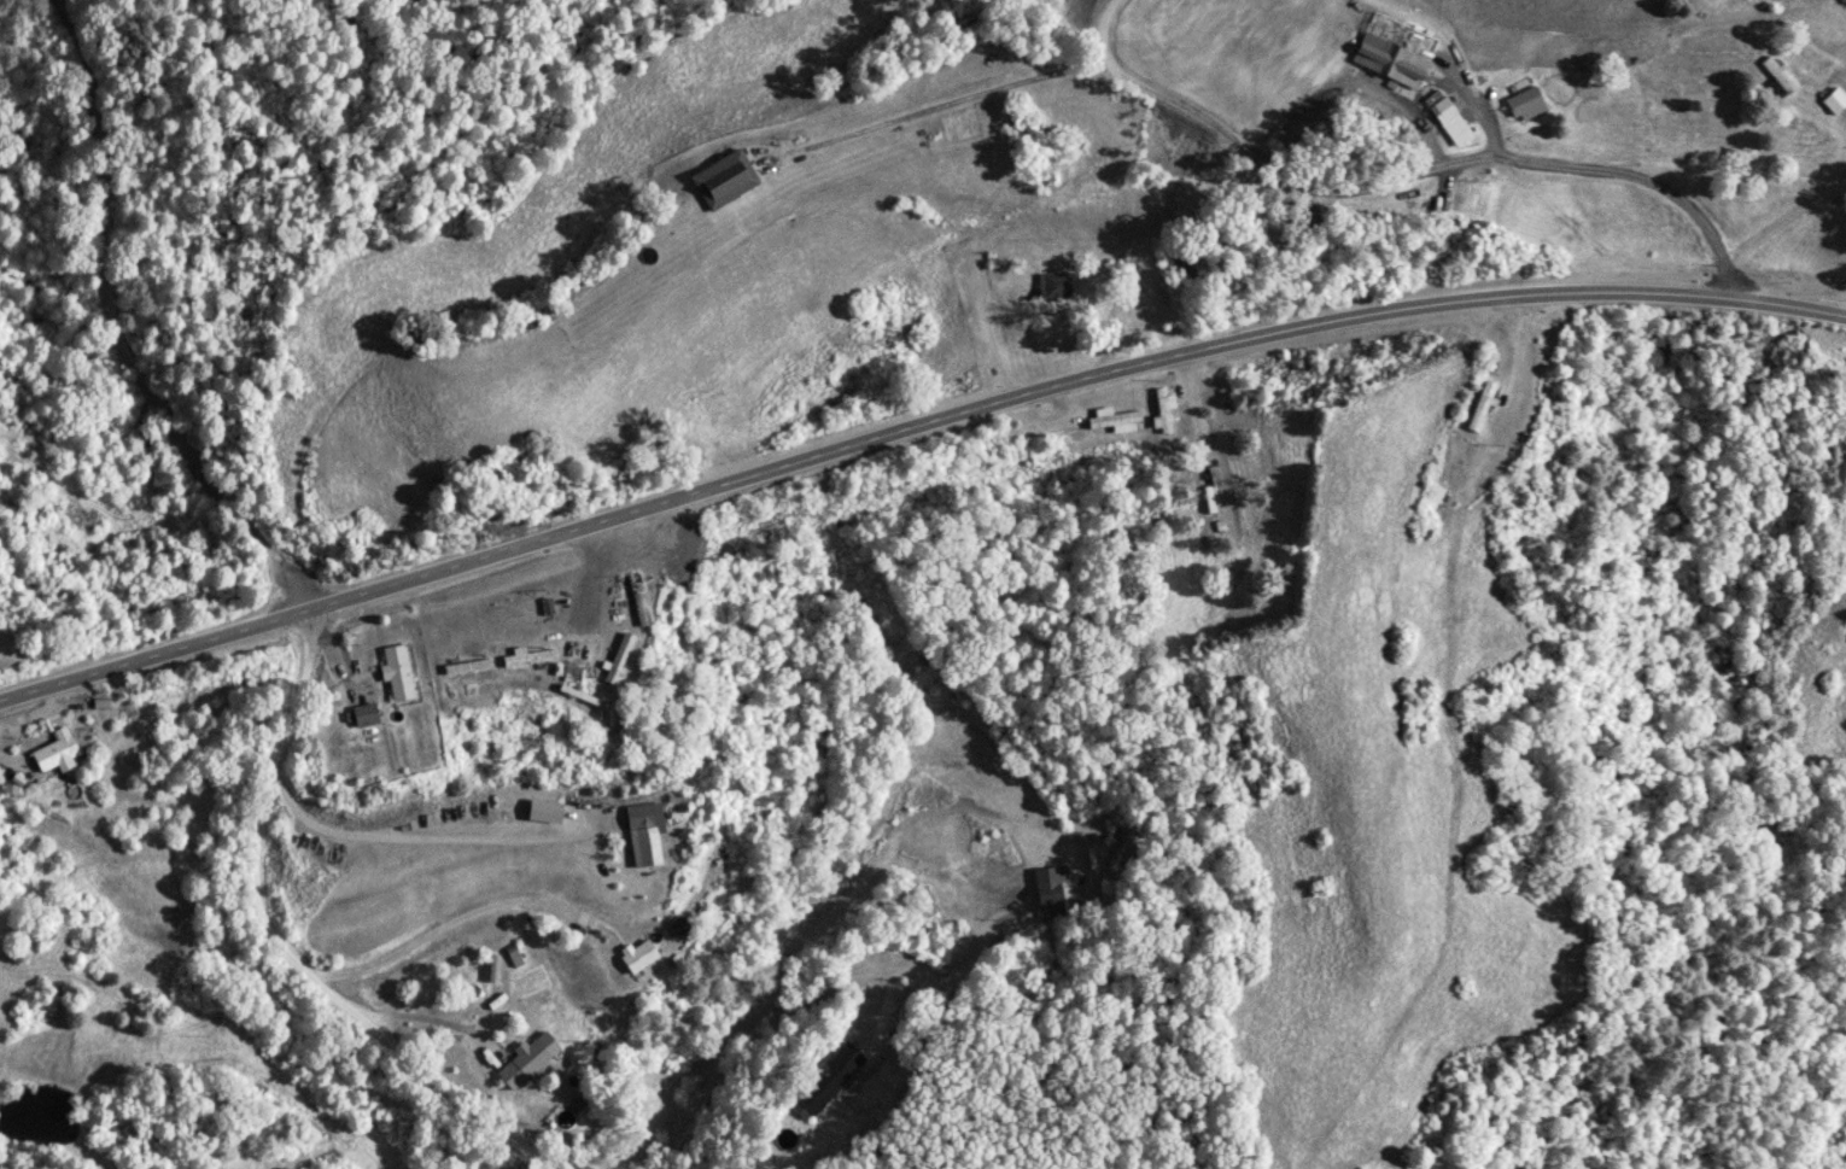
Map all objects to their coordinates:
building: (1782, 82)
building: (1530, 103)
building: (1836, 103)
building: (1453, 118)
road: (1407, 169)
building: (729, 180)
road: (1800, 201)
building: (1058, 286)
road: (1844, 308)
road: (110, 314)
building: (1484, 407)
road: (912, 411)
building: (1164, 411)
building: (1116, 421)
building: (1210, 484)
building: (508, 631)
building: (621, 659)
building: (402, 673)
building: (369, 715)
building: (58, 750)
building: (647, 836)
building: (1051, 892)
road: (257, 949)
building: (643, 955)
building: (526, 1064)

